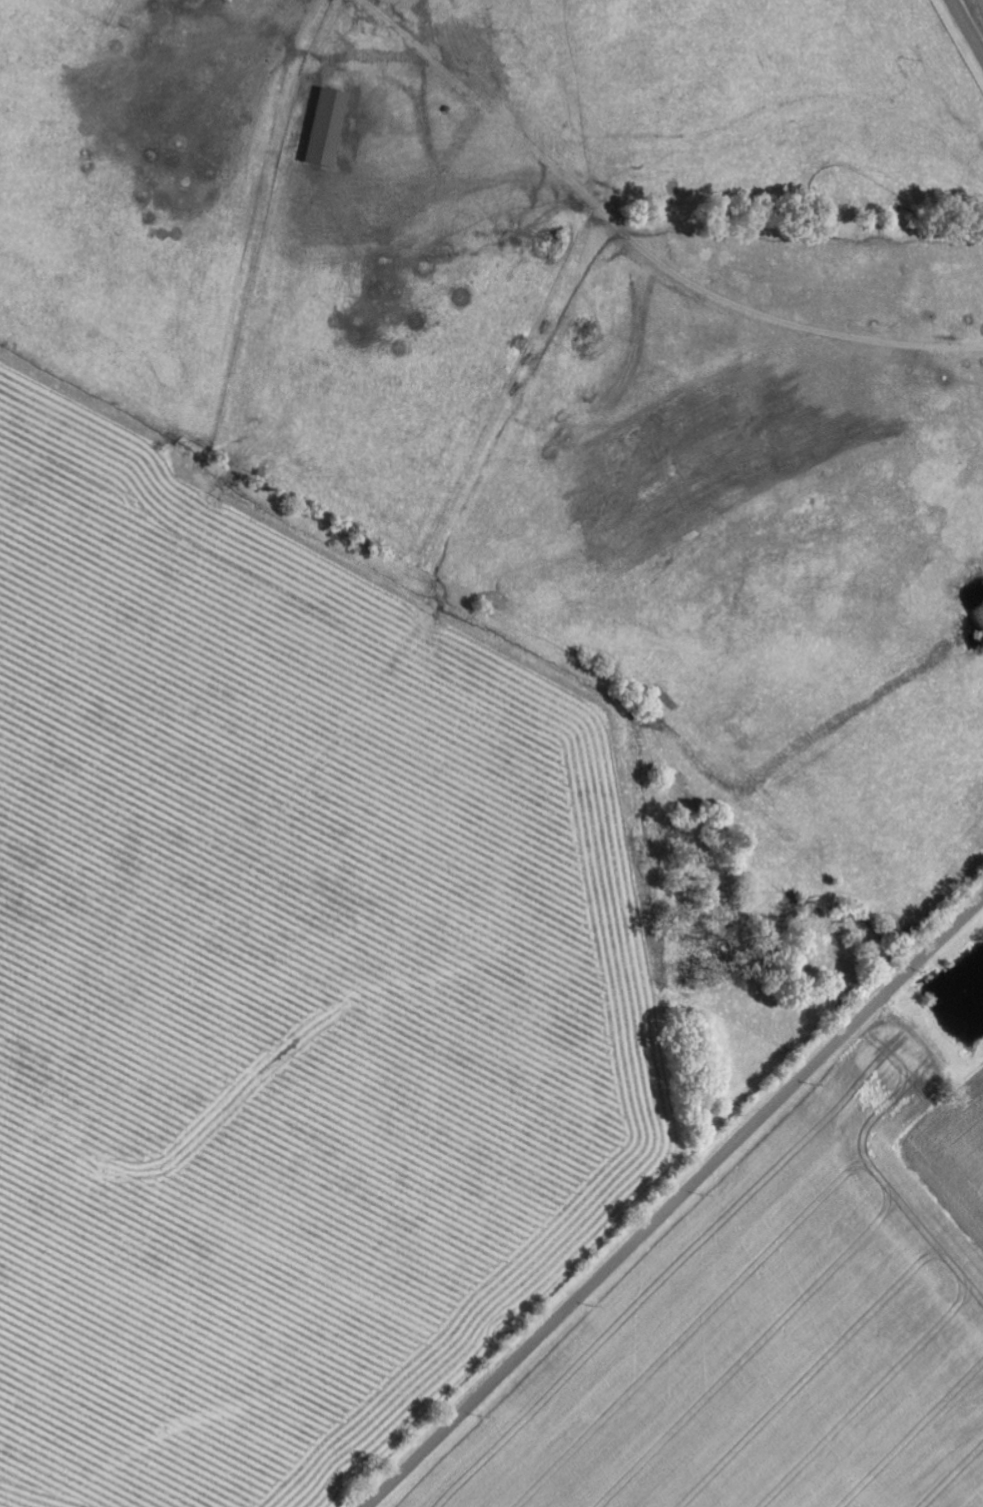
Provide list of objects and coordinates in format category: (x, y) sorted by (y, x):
road: (967, 27)
building: (325, 128)
road: (675, 1204)

